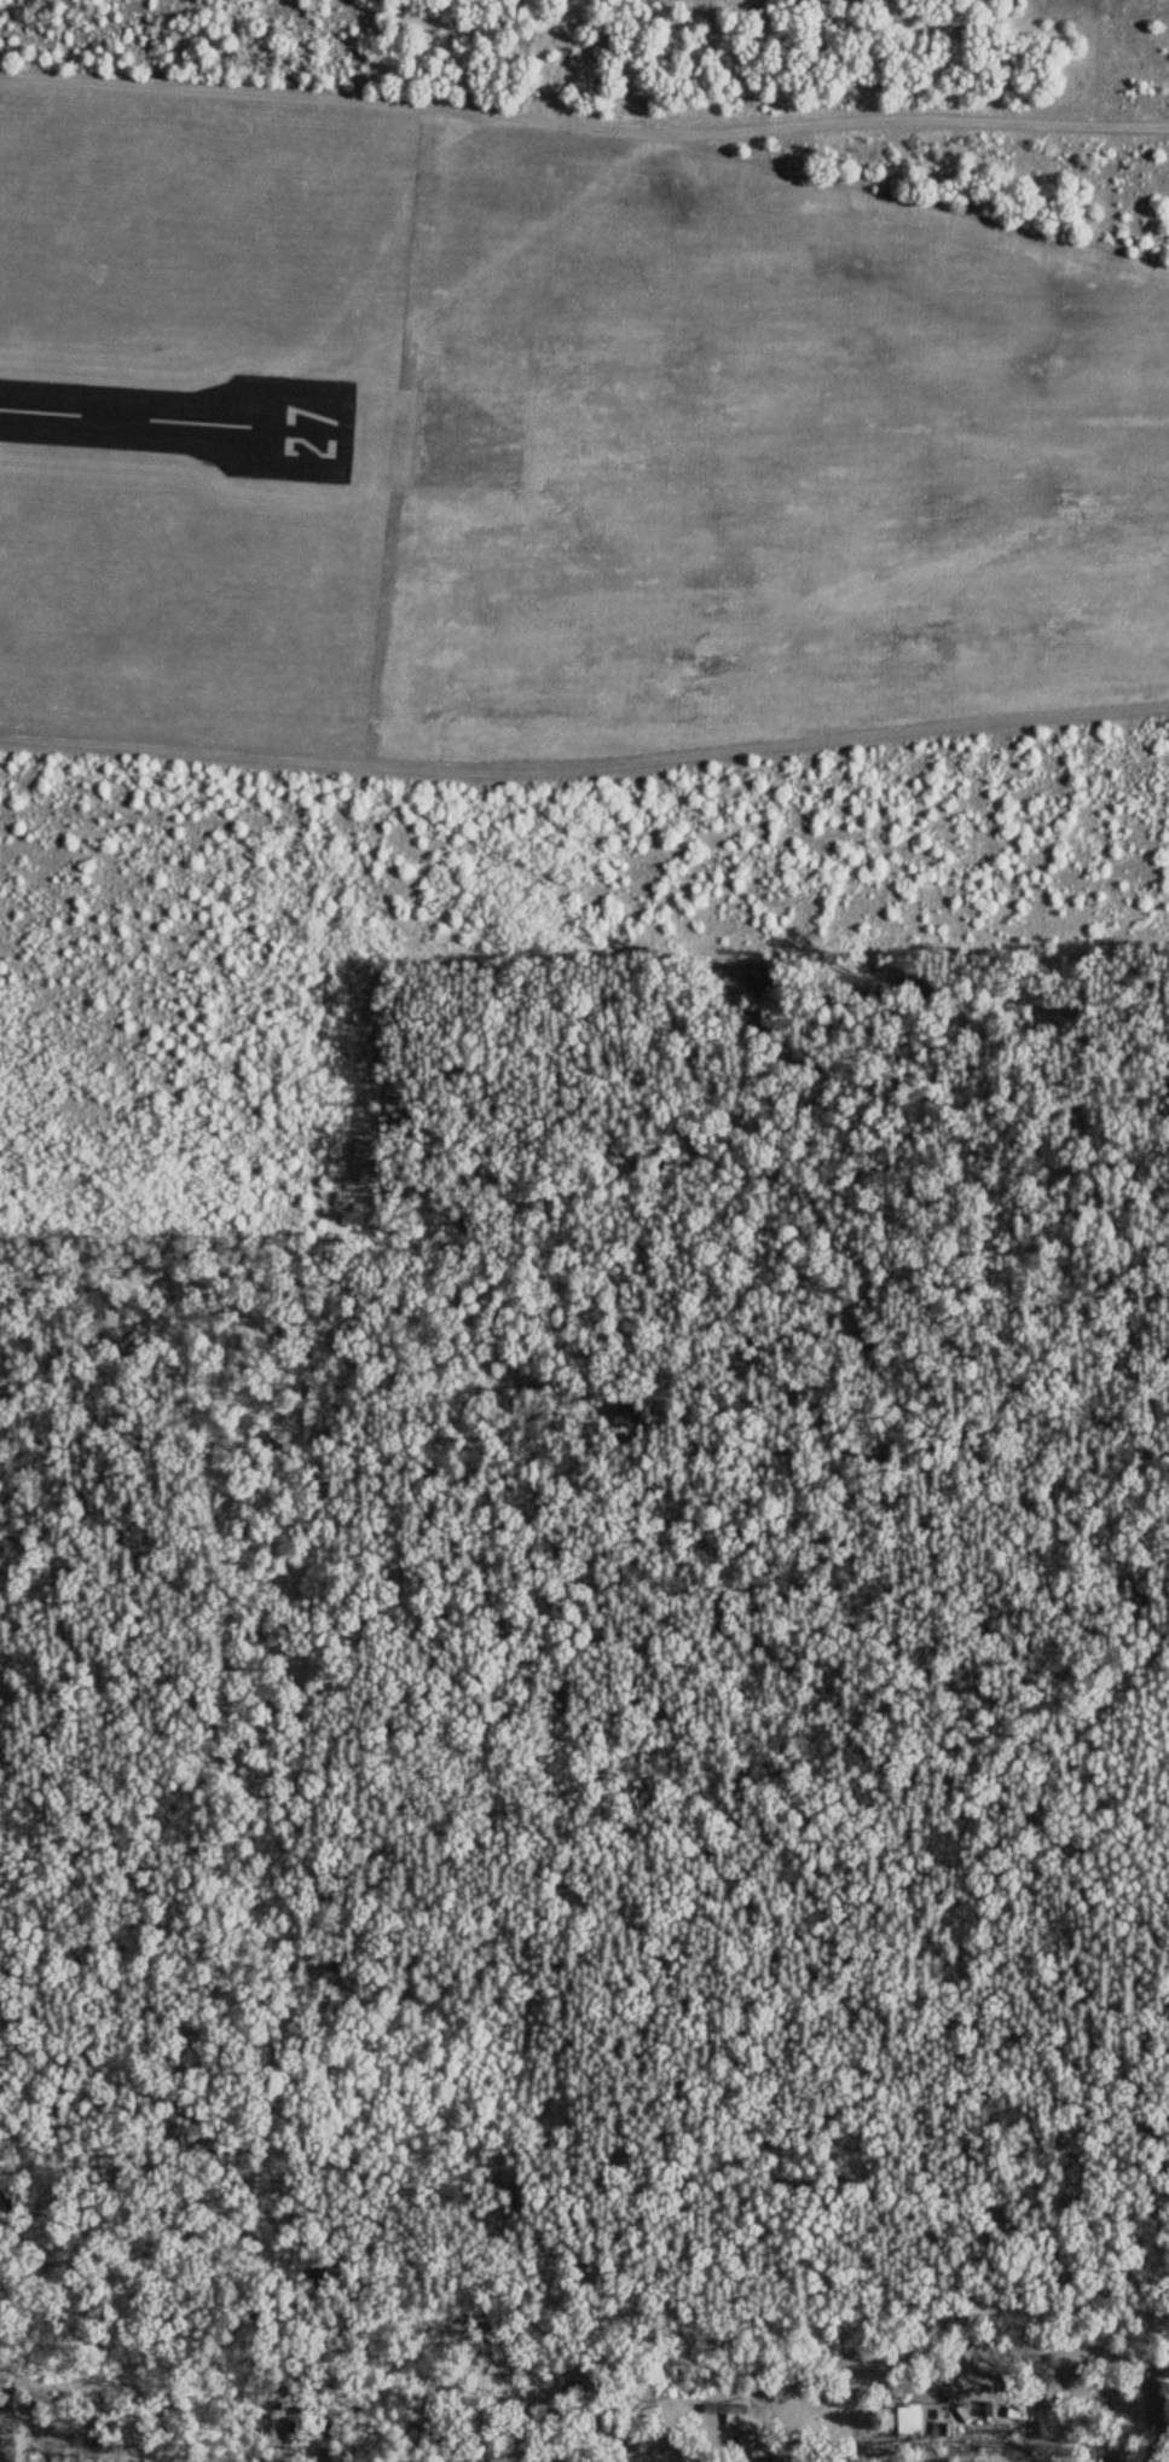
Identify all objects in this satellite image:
road: (5, 19)
road: (584, 41)
airport runway: (161, 416)
airport: (552, 451)
road: (751, 1077)
road: (405, 2327)
road: (976, 2353)
road: (791, 2408)
road: (1140, 2415)
building: (908, 2421)

